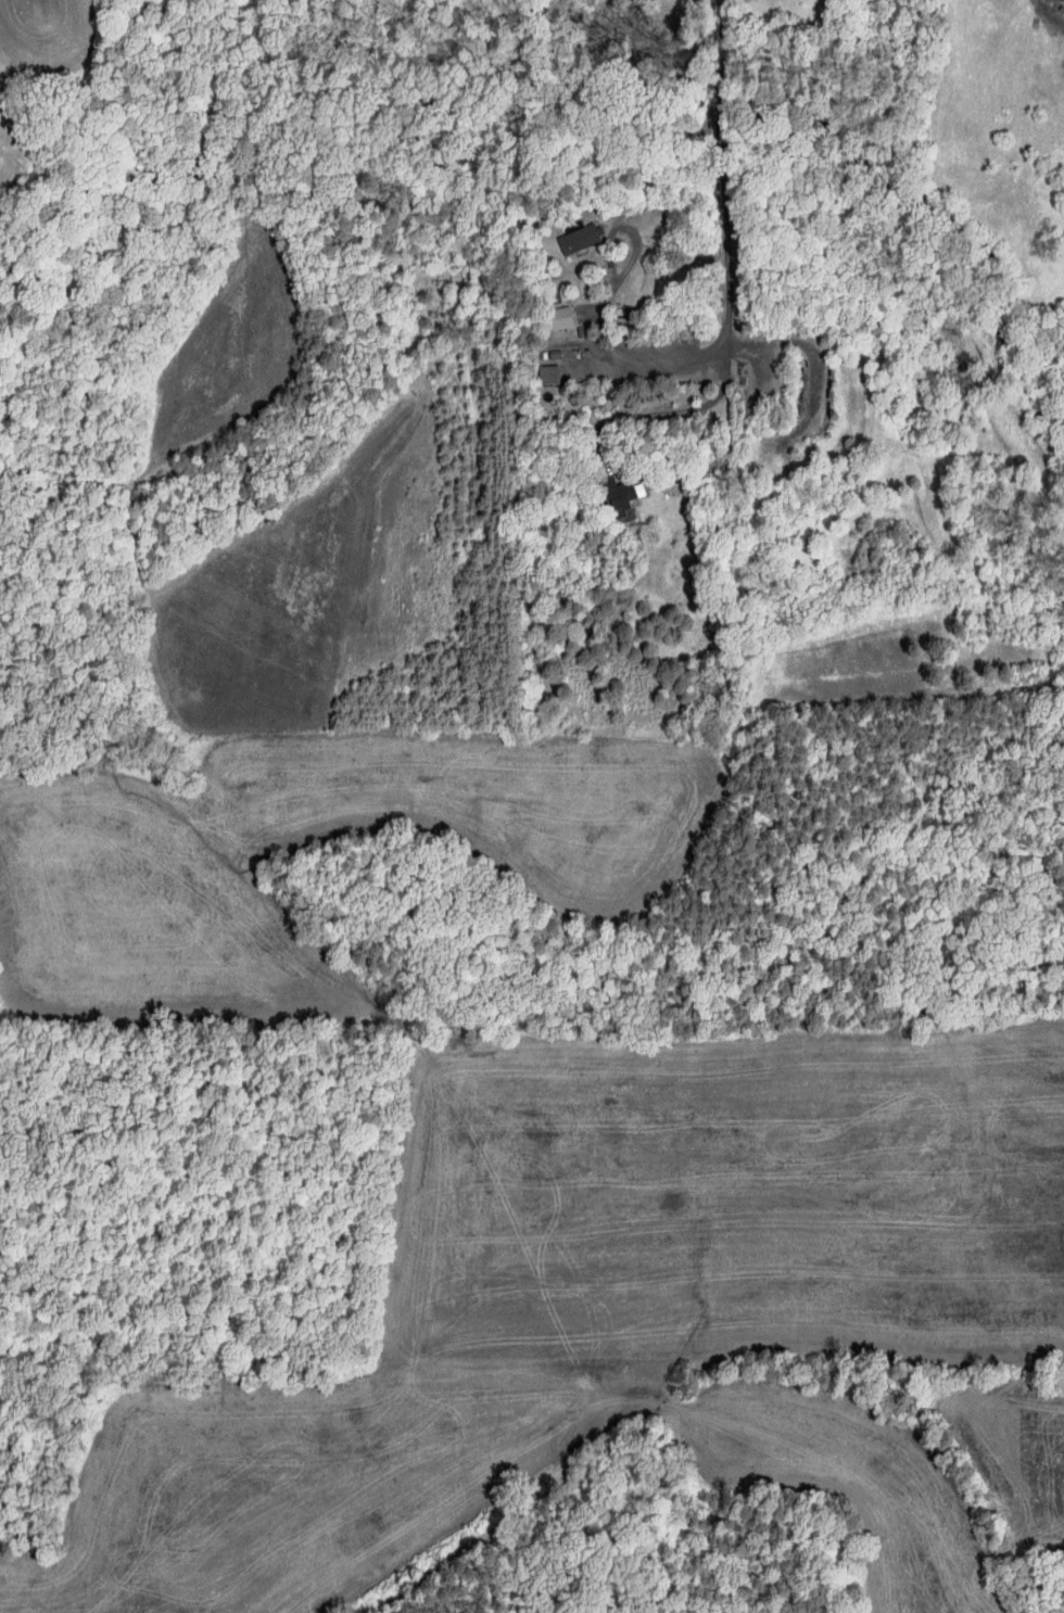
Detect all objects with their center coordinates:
building: (1062, 0)
road: (727, 177)
building: (577, 237)
road: (633, 255)
building: (558, 318)
road: (671, 356)
building: (547, 374)
road: (676, 411)
building: (623, 496)

